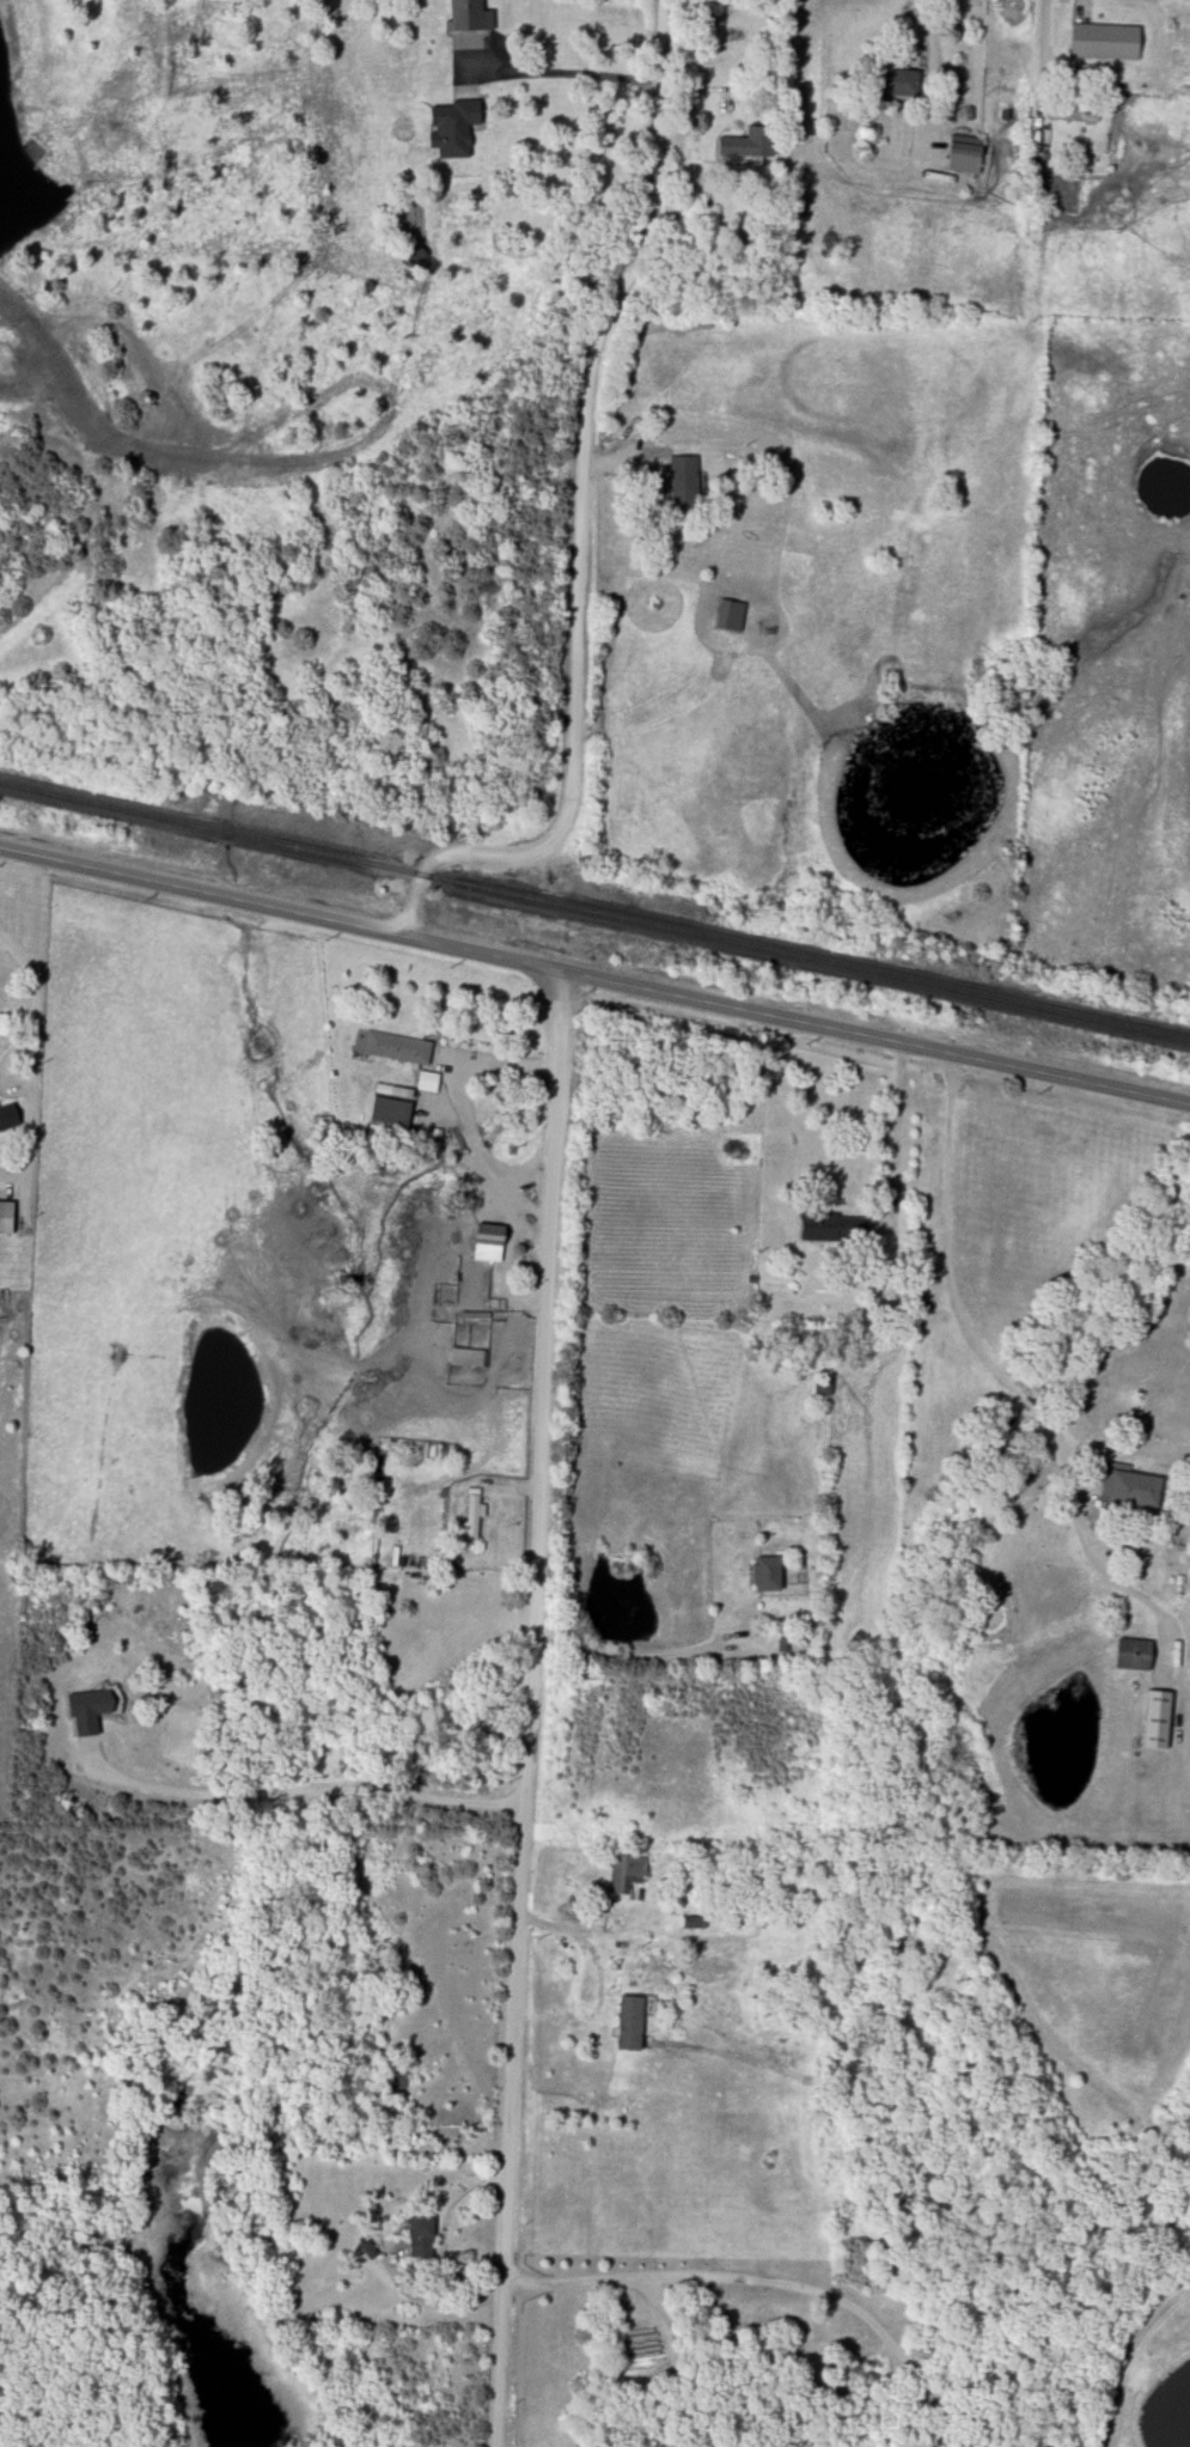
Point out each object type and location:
road: (1078, 2)
building: (469, 16)
road: (919, 16)
building: (1105, 42)
road: (567, 75)
building: (898, 84)
building: (452, 128)
building: (750, 144)
building: (965, 154)
building: (684, 486)
road: (580, 517)
building: (730, 616)
railway: (594, 912)
road: (594, 980)
road: (35, 999)
building: (392, 1047)
building: (427, 1082)
road: (454, 1102)
building: (389, 1109)
building: (8, 1116)
road: (896, 1133)
building: (6, 1218)
building: (834, 1226)
building: (489, 1243)
building: (470, 1322)
road: (965, 1326)
building: (468, 1358)
building: (823, 1387)
building: (1131, 1489)
building: (472, 1514)
building: (768, 1575)
road: (646, 1654)
building: (1135, 1655)
road: (532, 1711)
road: (310, 1796)
building: (625, 1874)
building: (803, 1976)
building: (630, 2023)
building: (398, 2077)
road: (441, 2234)
building: (421, 2239)
road: (773, 2282)

